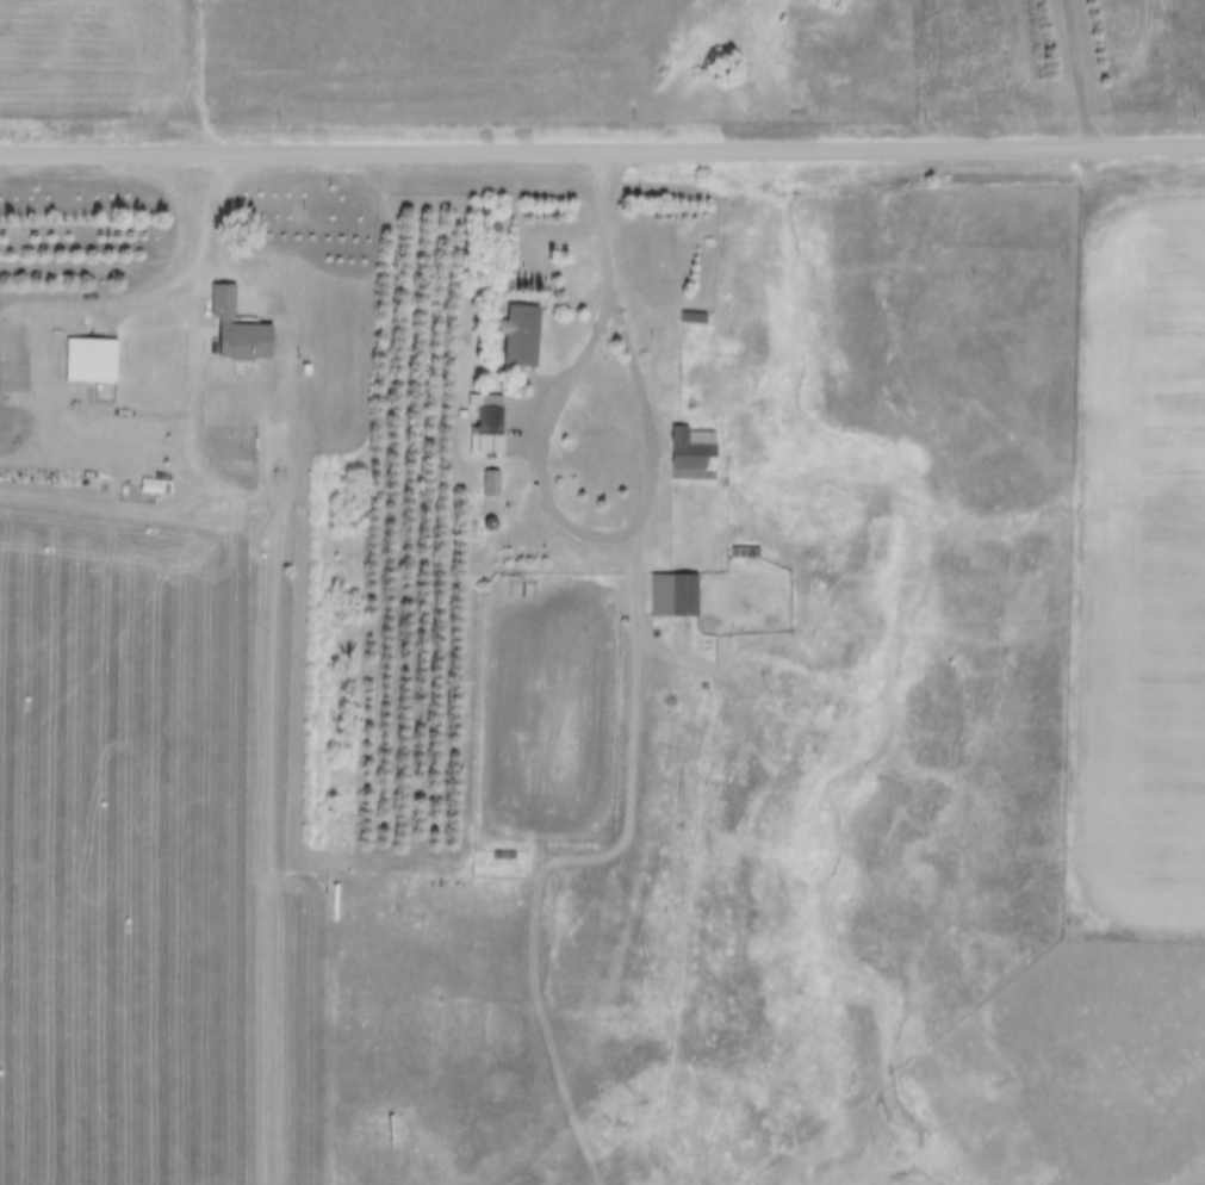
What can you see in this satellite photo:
road: (1077, 76)
road: (602, 156)
road: (203, 267)
building: (241, 319)
building: (522, 324)
building: (93, 349)
building: (490, 416)
building: (696, 443)
building: (491, 473)
road: (651, 490)
building: (676, 584)
road: (639, 737)

